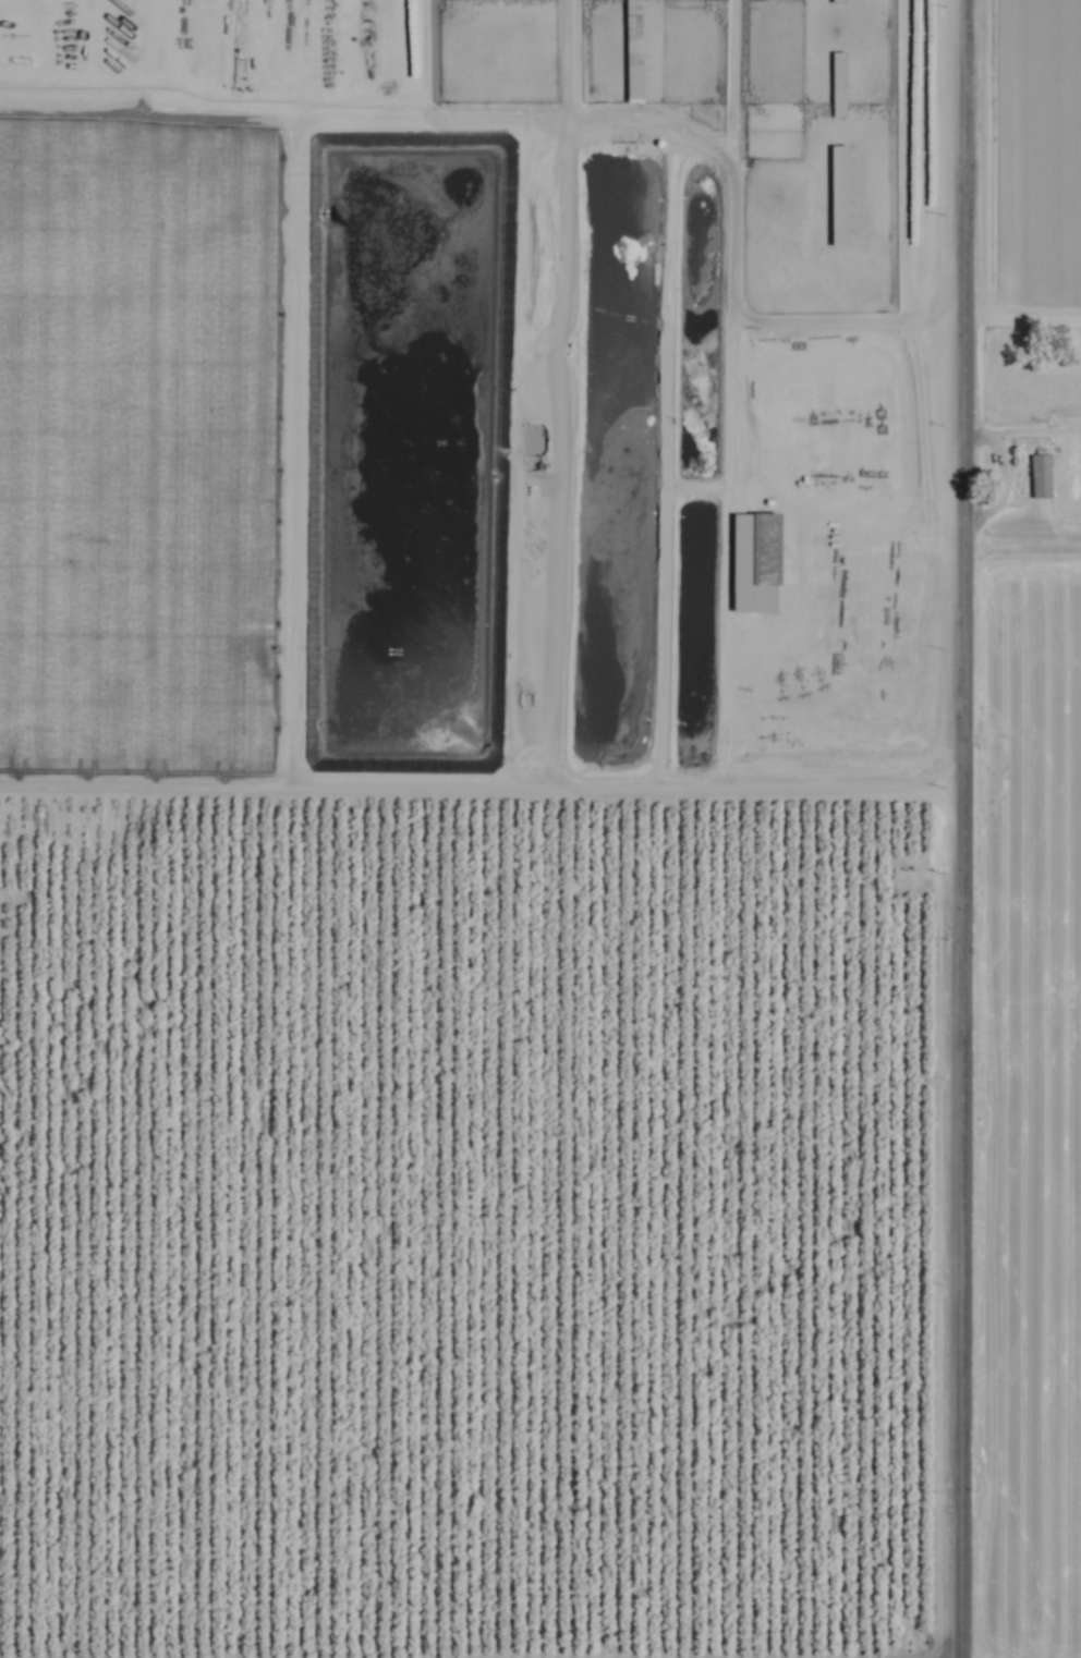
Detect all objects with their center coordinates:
building: (840, 0)
building: (841, 82)
building: (842, 193)
road: (733, 212)
road: (924, 435)
building: (1043, 474)
building: (772, 539)
road: (959, 829)

